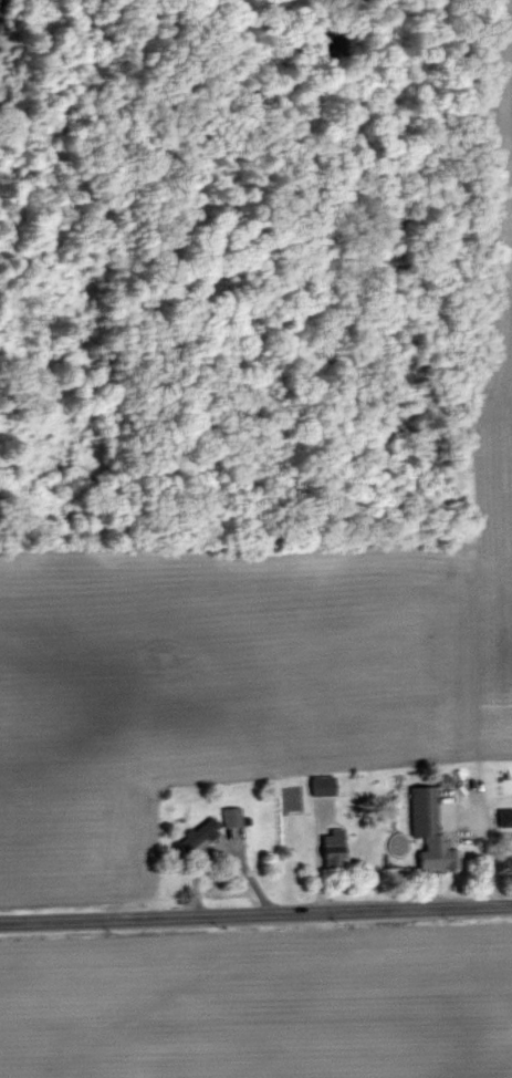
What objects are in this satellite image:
building: (324, 784)
building: (232, 815)
building: (505, 816)
building: (430, 829)
building: (334, 847)
road: (255, 906)

